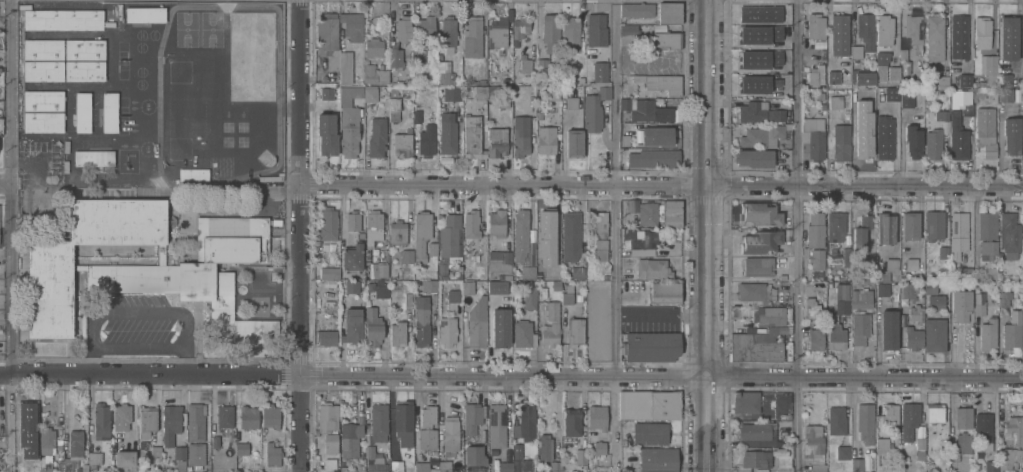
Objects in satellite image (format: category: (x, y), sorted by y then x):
building: (637, 9)
building: (669, 12)
building: (145, 14)
building: (760, 14)
building: (63, 19)
building: (375, 23)
building: (352, 25)
building: (816, 26)
building: (520, 27)
building: (403, 28)
building: (913, 28)
building: (426, 29)
building: (596, 29)
building: (866, 30)
building: (884, 30)
building: (497, 31)
building: (550, 31)
building: (982, 31)
building: (326, 32)
building: (448, 33)
building: (570, 33)
building: (627, 34)
building: (759, 35)
building: (838, 35)
building: (472, 36)
building: (934, 37)
building: (958, 37)
building: (1007, 38)
building: (666, 39)
building: (84, 48)
building: (373, 48)
building: (856, 51)
building: (903, 55)
building: (419, 56)
building: (395, 58)
building: (43, 59)
building: (758, 60)
building: (524, 63)
building: (542, 63)
building: (881, 64)
building: (345, 67)
building: (989, 67)
building: (84, 70)
building: (600, 71)
building: (893, 72)
building: (375, 74)
building: (816, 74)
building: (862, 76)
building: (446, 78)
building: (832, 78)
building: (580, 80)
building: (942, 80)
building: (964, 80)
building: (1004, 80)
building: (408, 81)
building: (478, 81)
building: (399, 82)
building: (661, 82)
building: (757, 85)
building: (345, 91)
building: (551, 92)
building: (452, 93)
building: (479, 93)
building: (892, 93)
building: (326, 94)
building: (370, 94)
building: (639, 94)
building: (1006, 94)
building: (820, 95)
building: (497, 97)
building: (906, 99)
building: (835, 102)
building: (571, 103)
building: (967, 105)
building: (393, 108)
building: (594, 108)
building: (638, 108)
building: (43, 110)
building: (82, 111)
building: (109, 111)
building: (856, 111)
building: (759, 112)
building: (822, 112)
building: (667, 113)
building: (941, 114)
building: (417, 115)
building: (539, 115)
building: (349, 131)
building: (447, 132)
building: (472, 133)
building: (764, 134)
building: (1012, 134)
building: (326, 135)
building: (520, 135)
building: (656, 135)
building: (957, 135)
building: (986, 135)
building: (377, 137)
building: (885, 137)
building: (813, 138)
building: (546, 139)
building: (427, 140)
building: (913, 140)
building: (496, 141)
building: (624, 141)
building: (574, 142)
building: (841, 142)
building: (933, 143)
building: (402, 144)
building: (864, 145)
building: (93, 157)
building: (654, 157)
building: (754, 157)
building: (193, 173)
building: (269, 175)
road: (4, 183)
road: (660, 186)
road: (8, 187)
building: (647, 213)
building: (672, 213)
building: (760, 213)
building: (353, 220)
building: (275, 221)
building: (496, 222)
building: (328, 223)
building: (471, 223)
building: (547, 223)
building: (598, 223)
building: (934, 224)
building: (986, 224)
building: (835, 225)
building: (910, 225)
building: (373, 226)
building: (886, 227)
building: (815, 230)
building: (397, 231)
building: (421, 233)
building: (520, 233)
building: (861, 233)
road: (613, 234)
building: (958, 234)
building: (1009, 234)
building: (361, 235)
building: (570, 235)
road: (797, 235)
road: (298, 236)
building: (639, 236)
road: (706, 236)
building: (449, 241)
building: (760, 241)
building: (432, 248)
building: (600, 248)
building: (987, 249)
building: (943, 252)
building: (160, 253)
building: (407, 255)
building: (540, 255)
building: (352, 257)
building: (816, 258)
building: (499, 260)
building: (553, 261)
building: (476, 262)
building: (892, 264)
building: (911, 264)
building: (80, 266)
building: (758, 266)
building: (653, 268)
building: (381, 269)
building: (528, 271)
building: (201, 272)
building: (329, 272)
building: (578, 272)
building: (991, 272)
building: (967, 274)
building: (857, 275)
building: (506, 276)
building: (606, 276)
building: (782, 276)
building: (877, 277)
building: (853, 284)
building: (929, 285)
building: (429, 286)
building: (351, 287)
building: (496, 287)
building: (381, 288)
building: (49, 289)
building: (468, 289)
building: (882, 289)
building: (908, 289)
building: (634, 291)
building: (665, 291)
building: (754, 291)
building: (452, 297)
building: (567, 297)
building: (530, 298)
building: (861, 298)
building: (1004, 298)
building: (843, 299)
building: (408, 300)
building: (936, 300)
building: (883, 303)
building: (1022, 303)
building: (960, 304)
building: (979, 304)
building: (811, 307)
building: (916, 312)
road: (141, 313)
building: (771, 315)
building: (421, 320)
building: (550, 324)
building: (352, 326)
building: (372, 326)
building: (860, 327)
building: (889, 327)
building: (500, 329)
building: (777, 329)
building: (477, 330)
building: (1012, 330)
building: (447, 331)
building: (575, 331)
building: (397, 333)
building: (522, 333)
building: (935, 334)
building: (988, 334)
building: (326, 336)
building: (836, 336)
building: (913, 337)
building: (815, 338)
road: (139, 346)
building: (652, 346)
building: (754, 349)
road: (90, 360)
road: (185, 361)
road: (511, 377)
building: (746, 401)
building: (649, 404)
building: (26, 412)
building: (934, 412)
building: (887, 414)
building: (427, 415)
building: (121, 416)
building: (225, 416)
building: (248, 416)
building: (270, 416)
building: (596, 416)
building: (327, 417)
building: (472, 417)
building: (101, 419)
building: (908, 419)
building: (146, 420)
building: (836, 420)
building: (378, 421)
building: (403, 421)
building: (571, 421)
building: (171, 422)
building: (195, 422)
building: (865, 422)
building: (525, 423)
building: (496, 425)
building: (969, 429)
building: (1012, 430)
building: (754, 431)
building: (649, 432)
building: (982, 433)
building: (249, 435)
building: (450, 435)
building: (29, 436)
building: (427, 438)
building: (46, 439)
building: (58, 439)
building: (349, 440)
building: (214, 441)
building: (628, 441)
building: (786, 442)
building: (330, 443)
building: (920, 443)
building: (945, 443)
building: (143, 444)
building: (544, 446)
building: (881, 446)
building: (598, 447)
building: (814, 447)
building: (241, 448)
building: (74, 451)
building: (155, 451)
building: (179, 452)
building: (492, 452)
building: (842, 452)
building: (195, 453)
building: (272, 453)
building: (580, 456)
building: (94, 457)
building: (0, 458)
building: (124, 458)
building: (473, 458)
building: (755, 458)
building: (1007, 458)
building: (374, 459)
building: (519, 460)
building: (657, 460)
building: (60, 461)
building: (45, 462)
building: (324, 462)
building: (857, 464)
building: (180, 465)
building: (534, 465)
building: (395, 466)
building: (422, 466)
building: (444, 466)
building: (504, 466)
building: (554, 466)
building: (976, 466)
building: (990, 466)
building: (410, 467)
building: (360, 468)
building: (342, 469)
building: (538, 469)
building: (575, 471)

